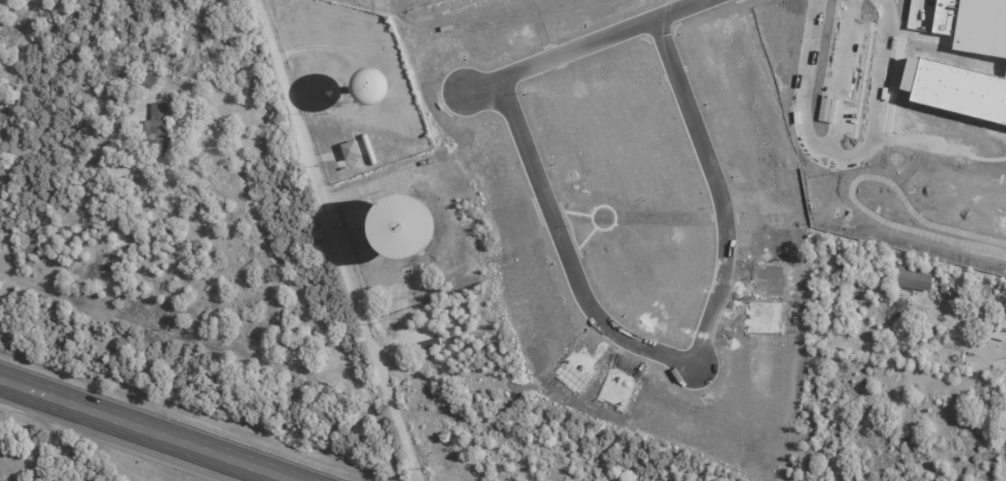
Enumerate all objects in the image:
road: (676, 9)
building: (971, 23)
water tower: (350, 65)
building: (148, 77)
building: (954, 81)
building: (379, 88)
road: (176, 96)
building: (156, 129)
road: (843, 142)
building: (351, 150)
road: (336, 240)
building: (912, 278)
road: (307, 301)
road: (612, 331)
building: (422, 332)
building: (935, 336)
building: (429, 344)
road: (144, 431)

